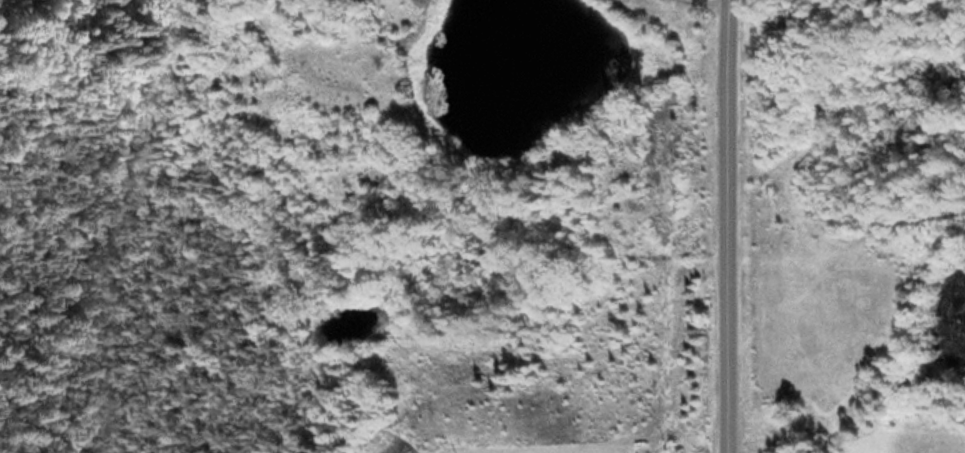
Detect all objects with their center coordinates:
road: (738, 226)
building: (518, 344)

